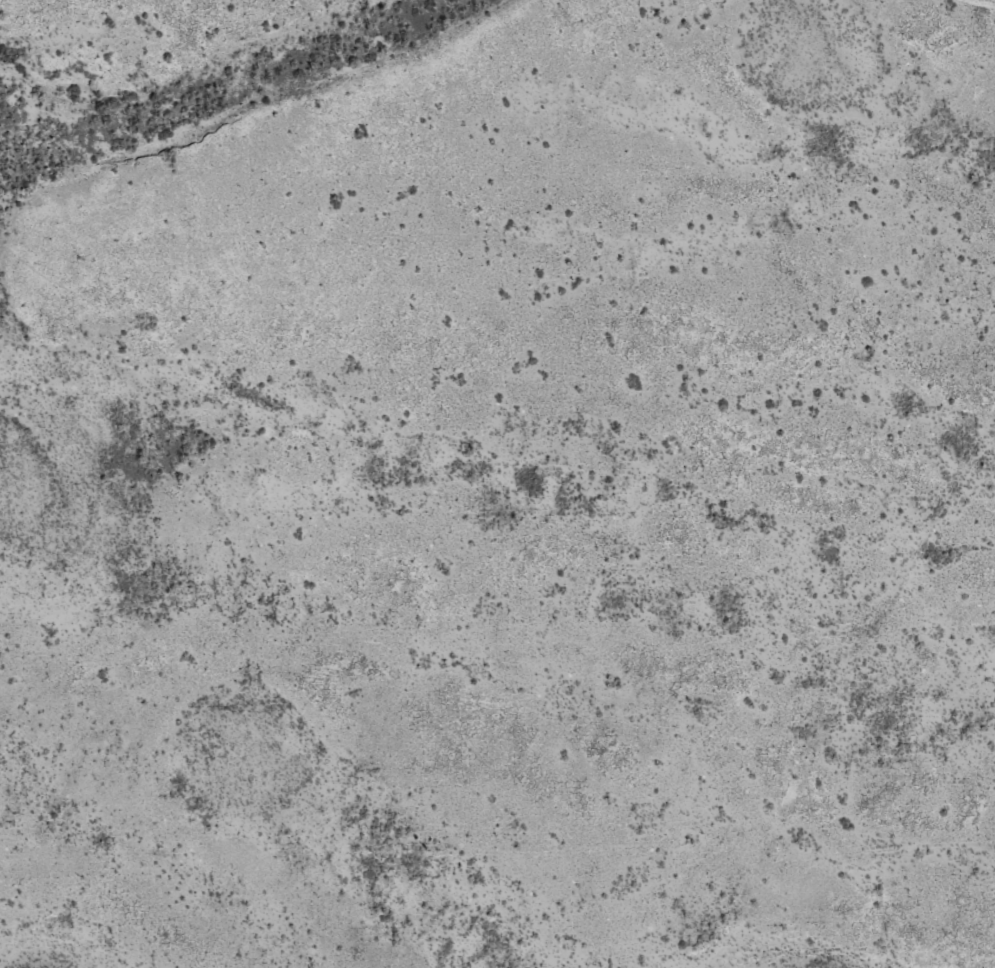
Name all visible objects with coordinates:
road: (856, 713)

